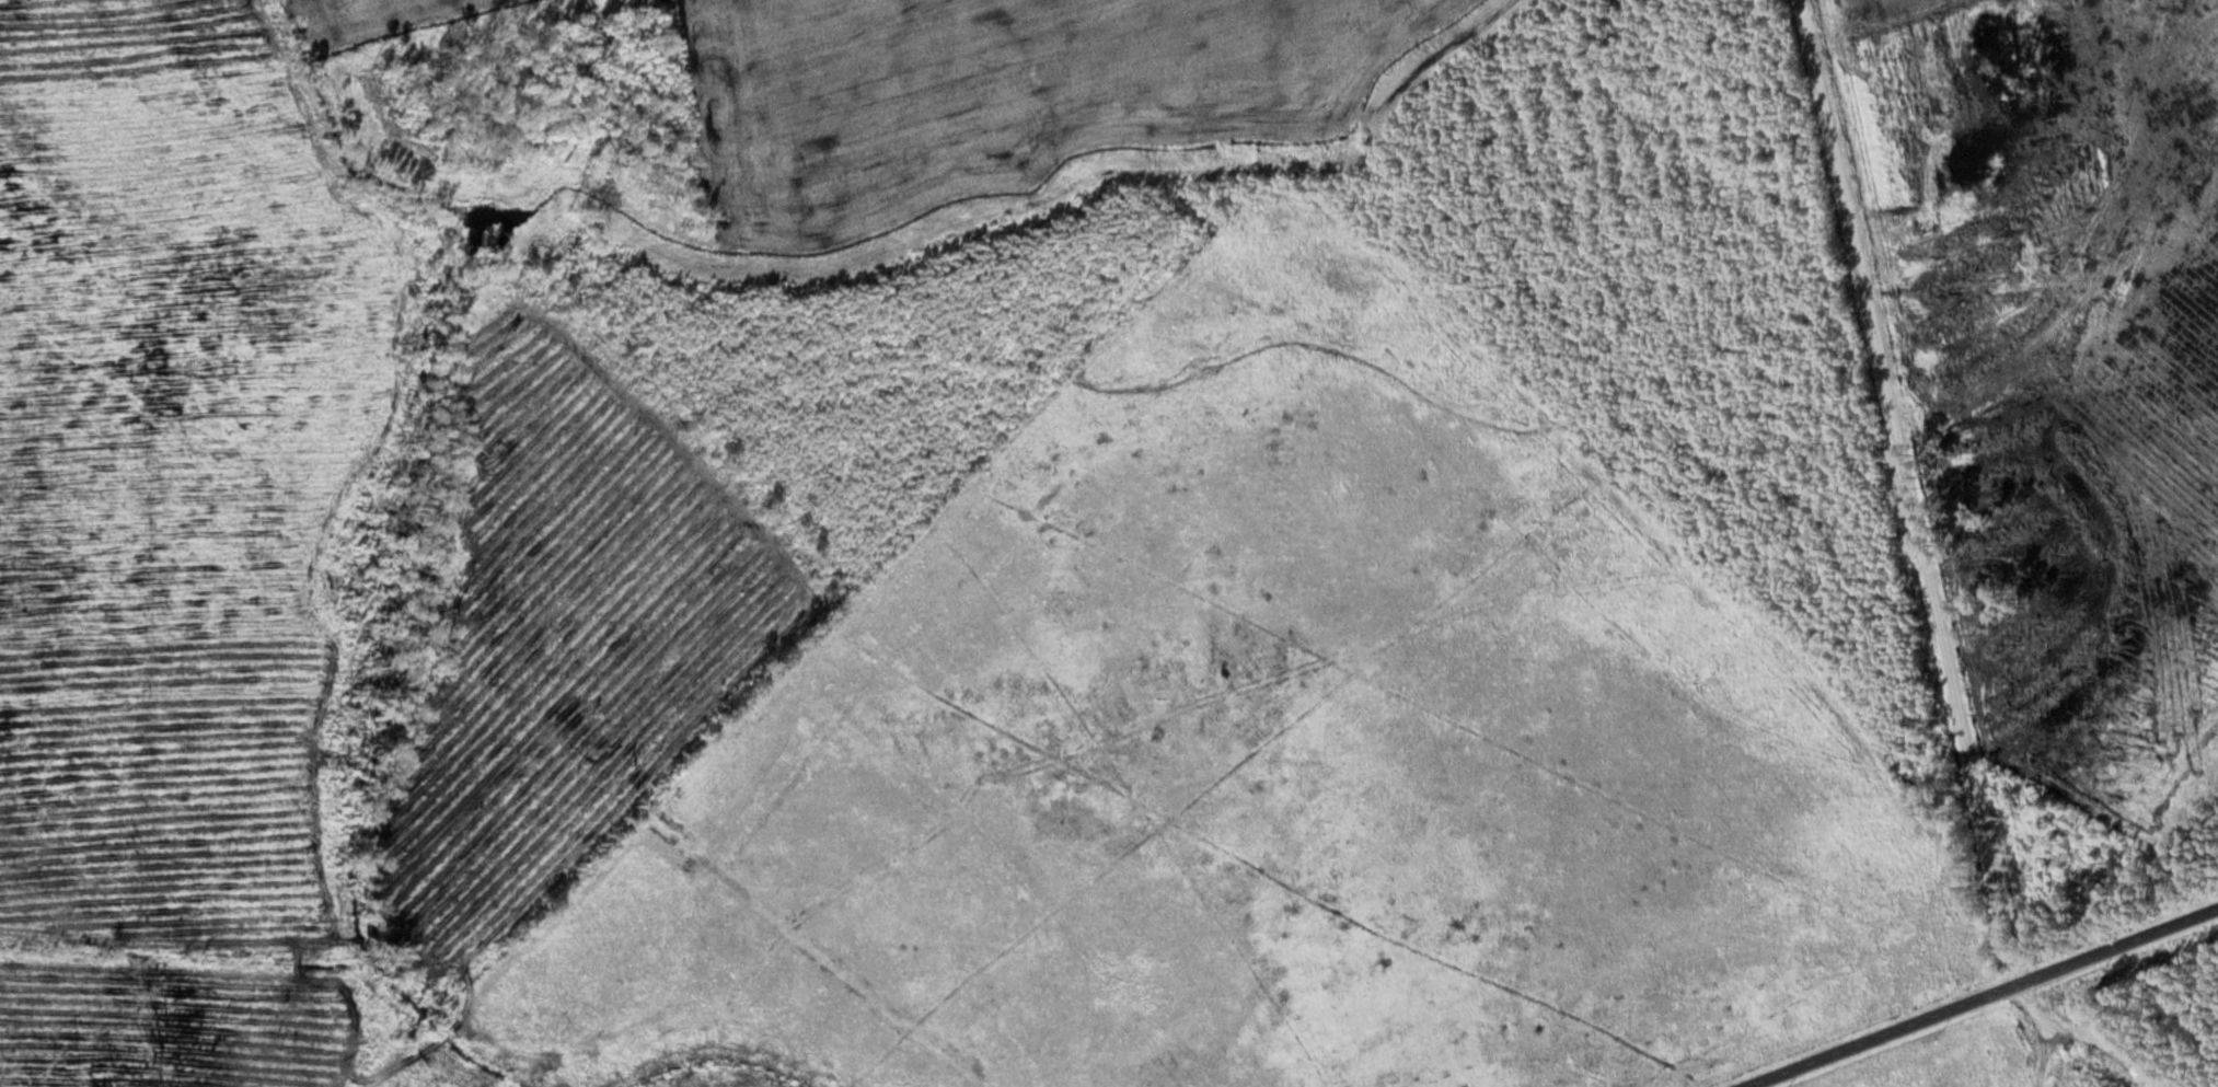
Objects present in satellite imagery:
road: (1909, 490)
road: (1978, 996)
road: (2035, 1013)
road: (2105, 1050)
road: (2051, 1064)

